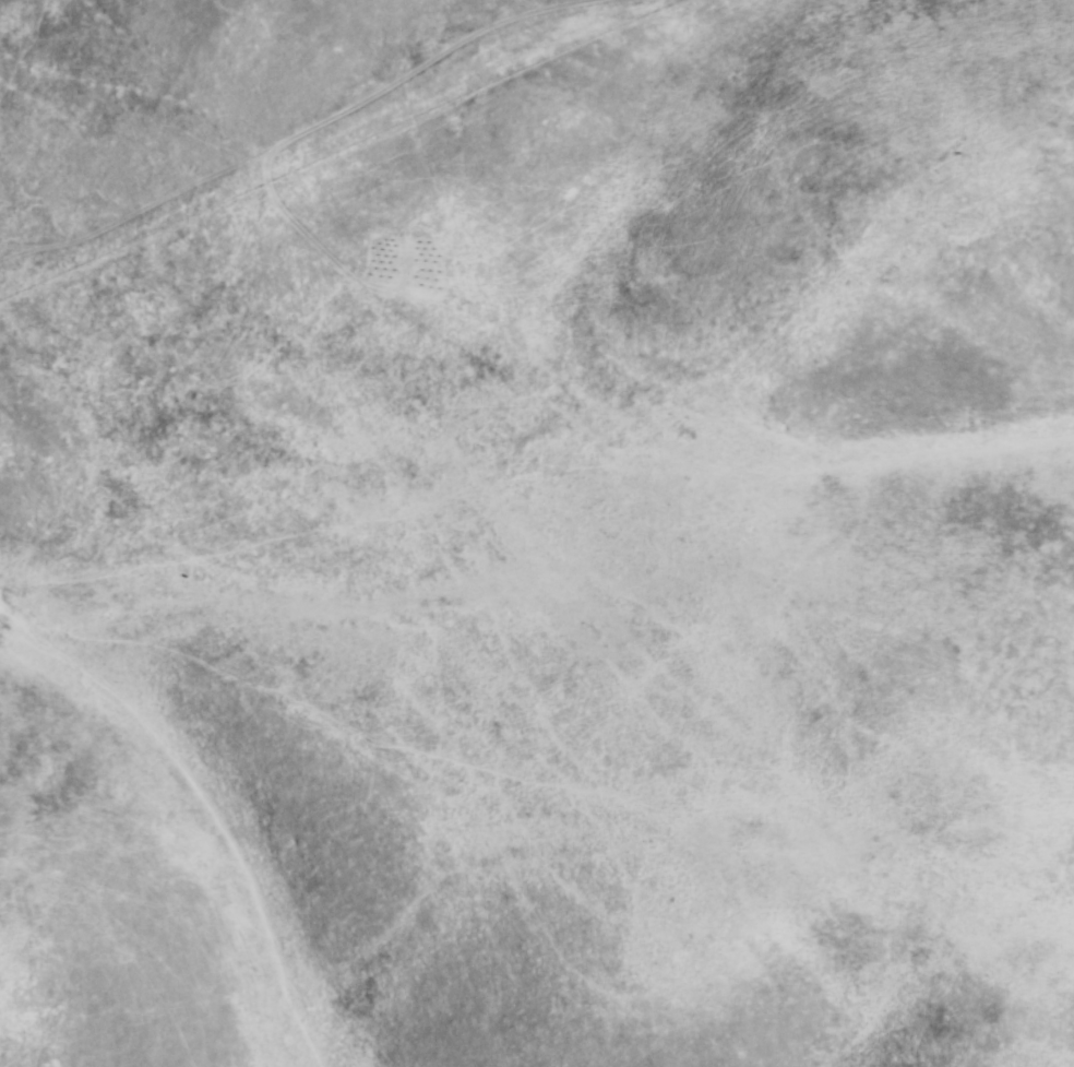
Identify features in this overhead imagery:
road: (344, 130)

